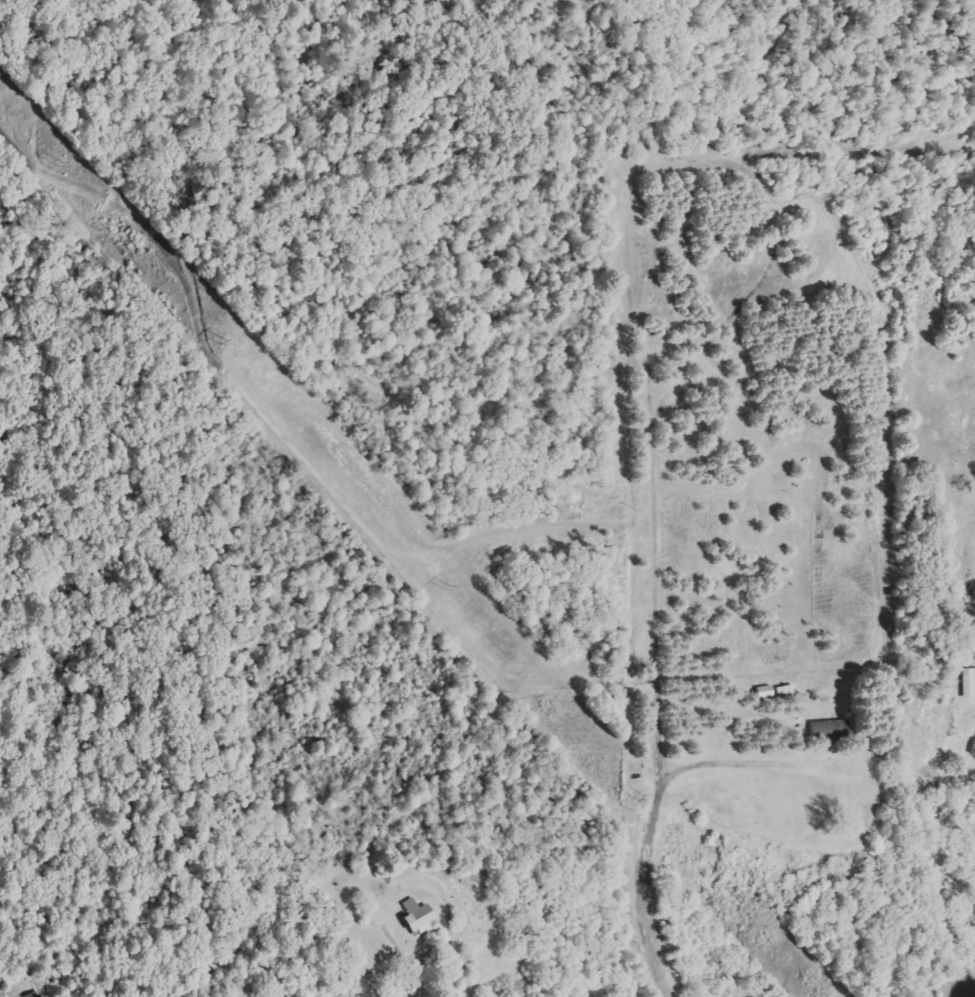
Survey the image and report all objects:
building: (967, 683)
building: (823, 729)
building: (421, 916)
road: (425, 968)
building: (32, 995)

